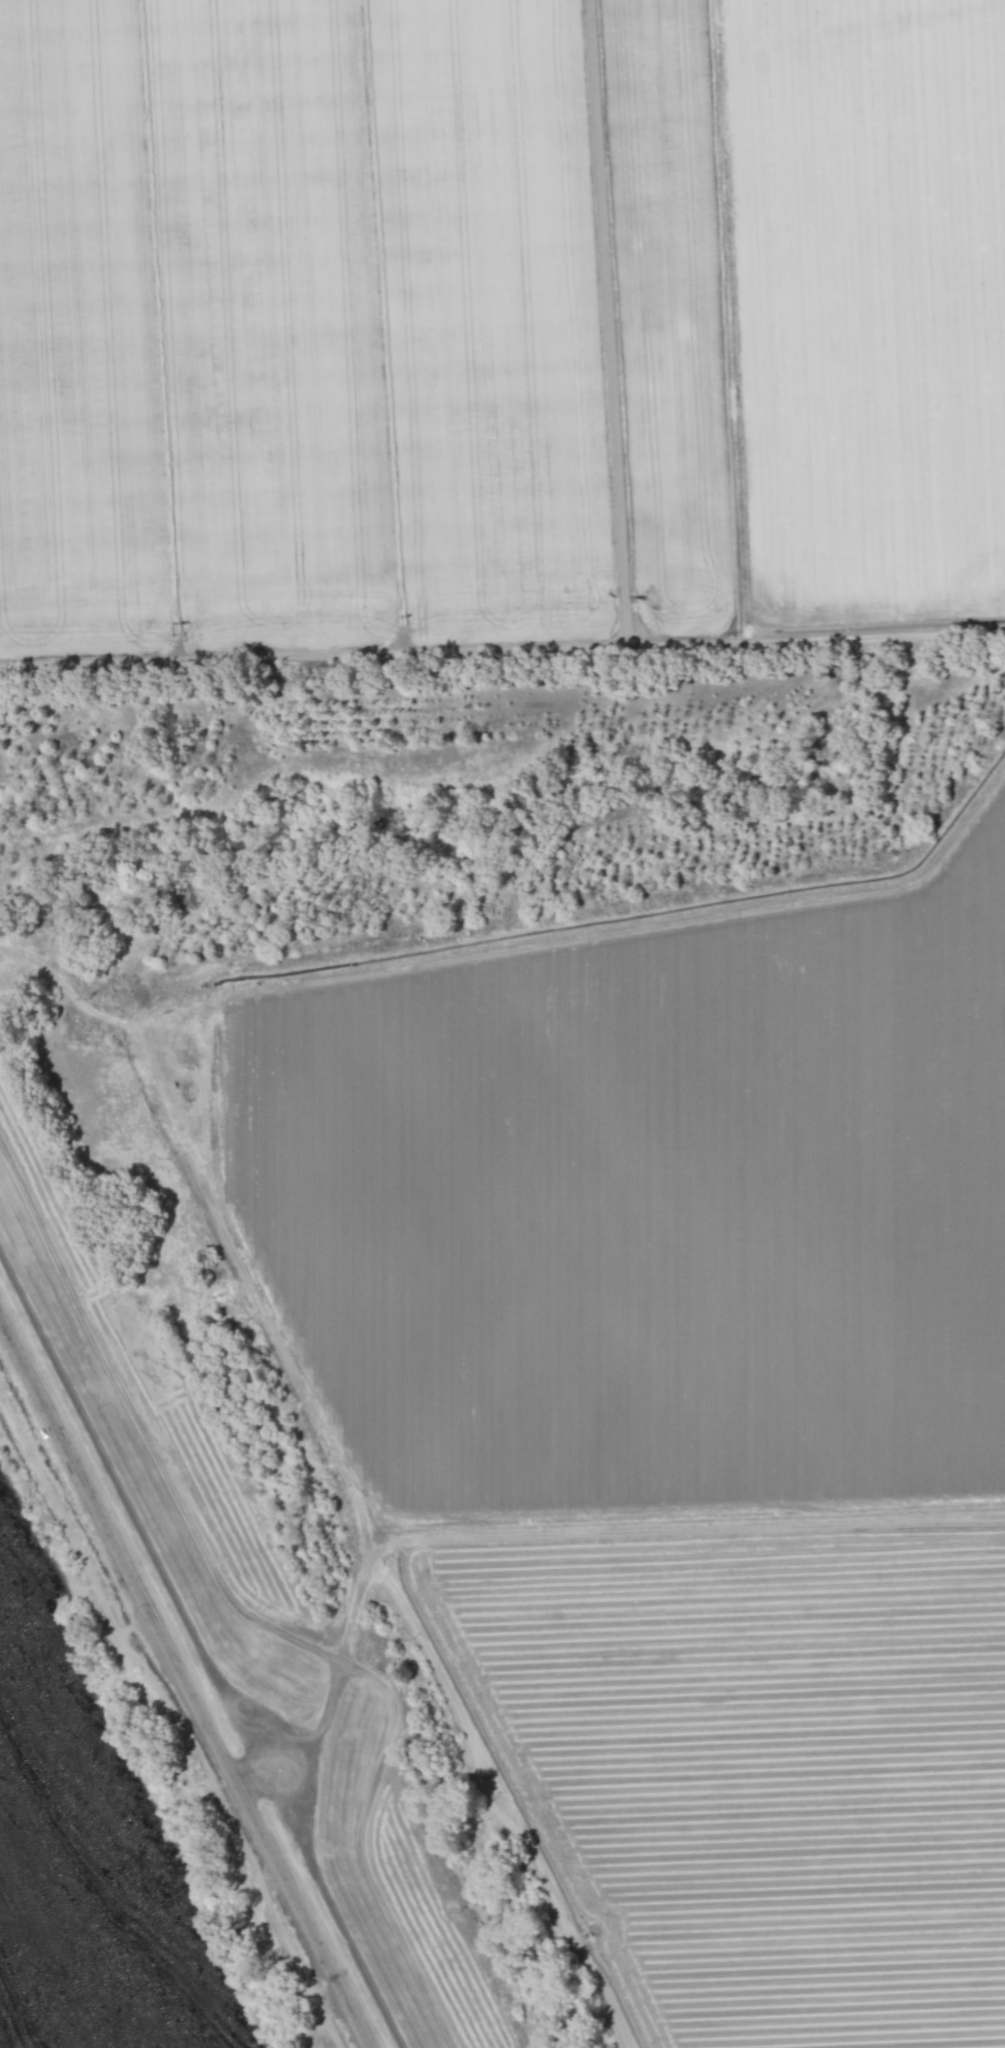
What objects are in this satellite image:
road: (184, 1703)
river: (47, 1937)

